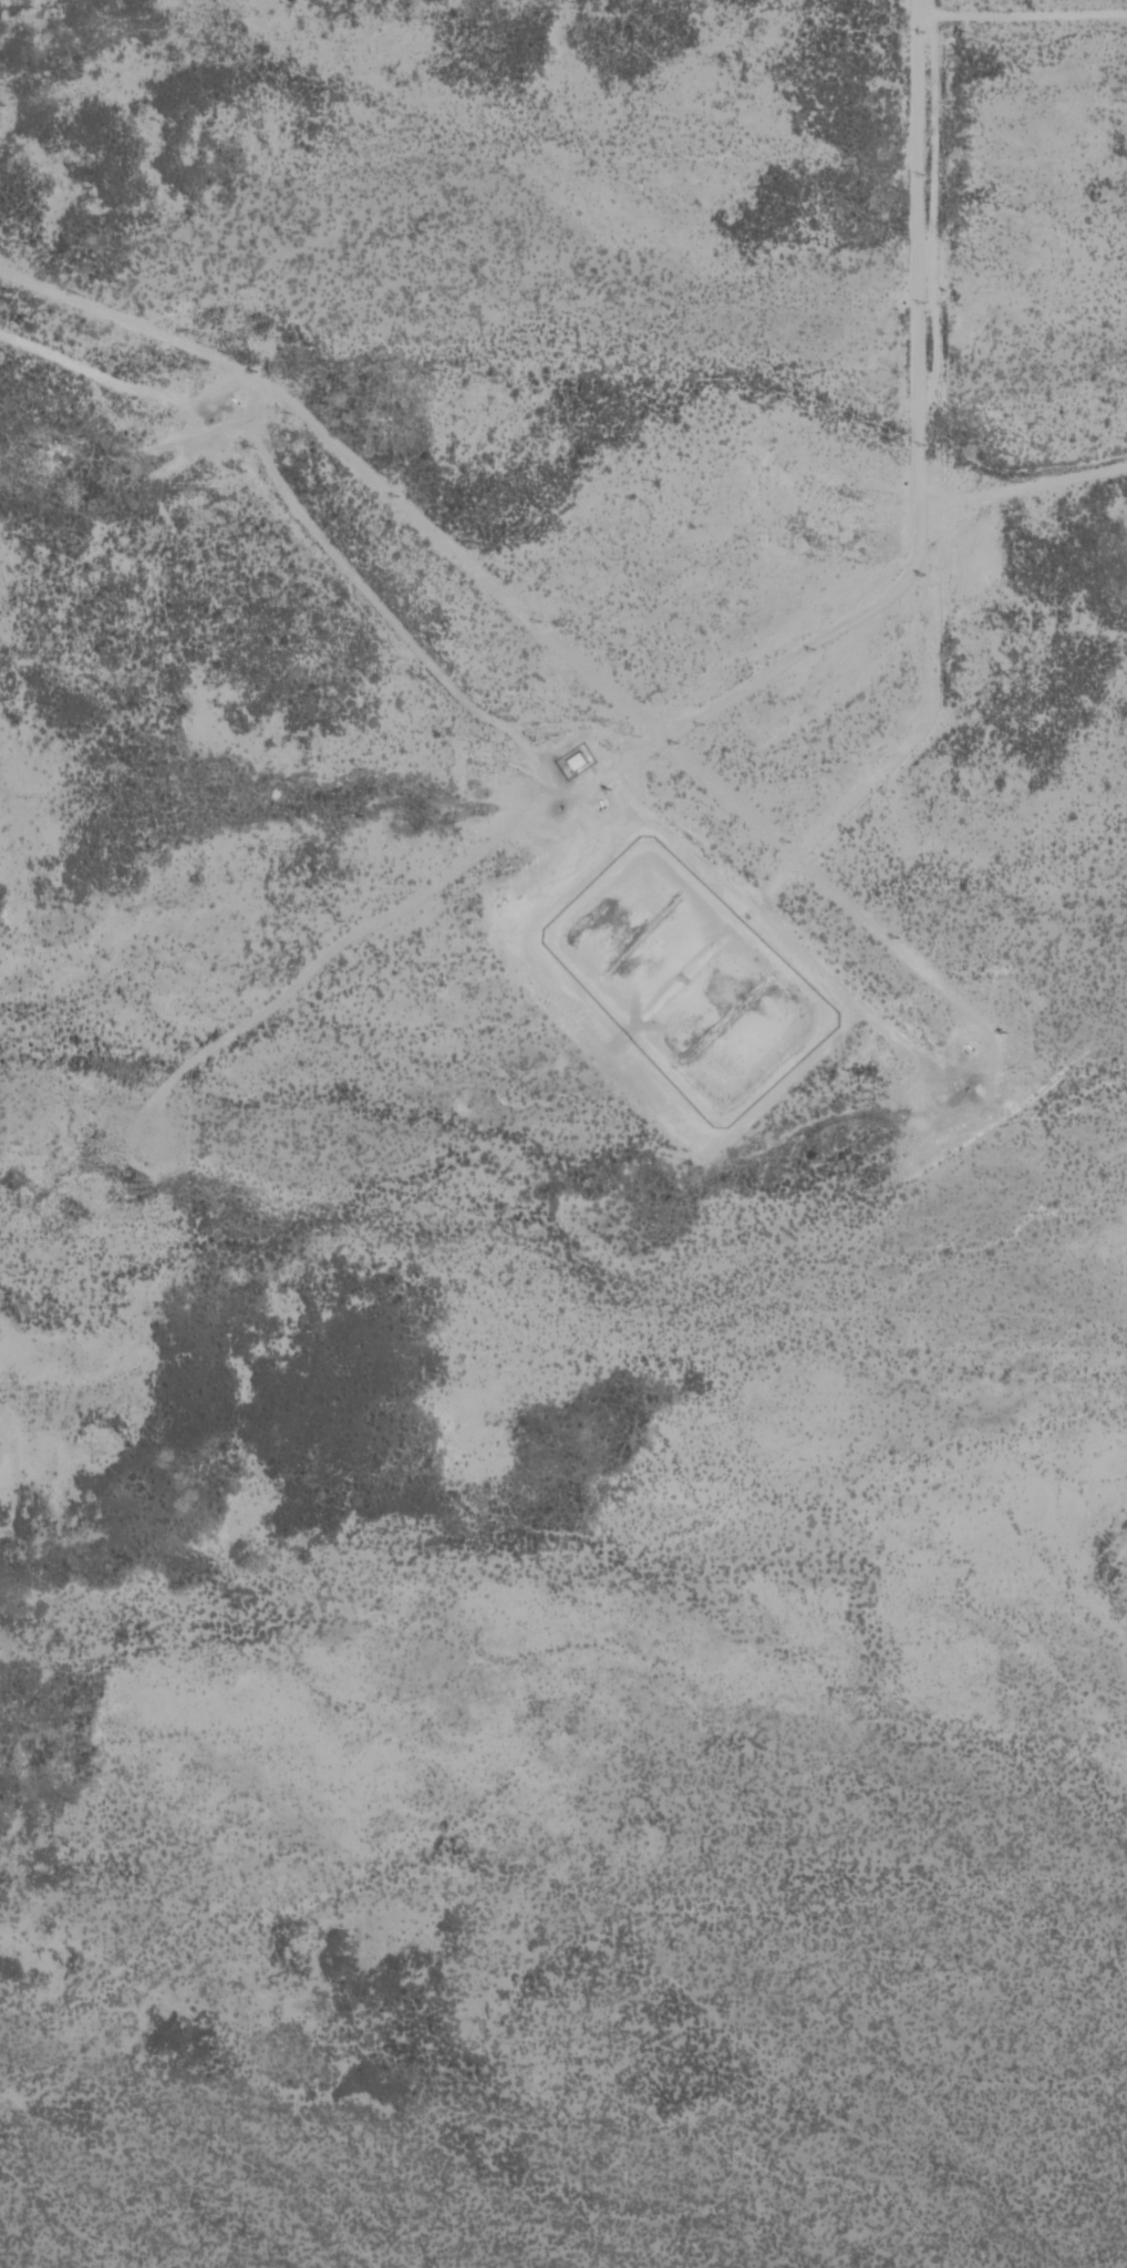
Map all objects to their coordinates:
building: (578, 764)

